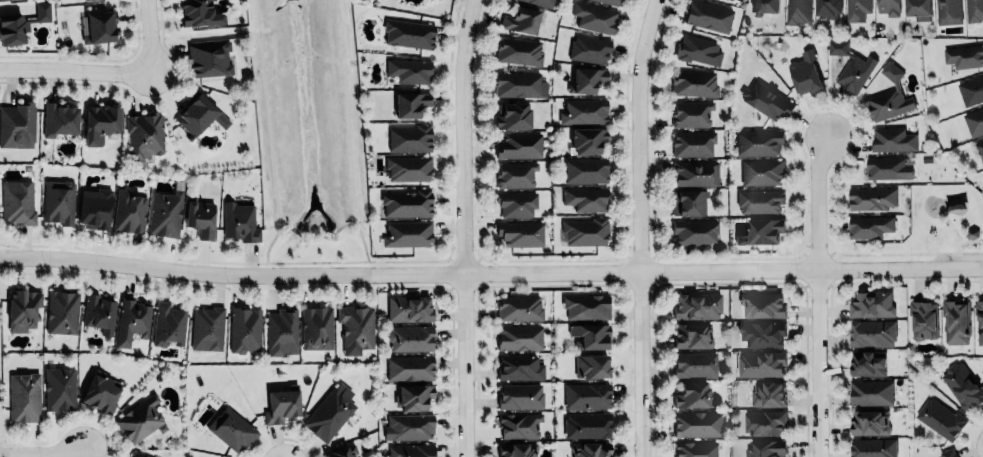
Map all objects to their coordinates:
building: (86, 0)
building: (730, 0)
building: (541, 2)
building: (611, 2)
building: (765, 7)
building: (889, 7)
building: (828, 8)
building: (918, 9)
building: (857, 10)
building: (974, 10)
building: (42, 11)
building: (949, 11)
building: (798, 12)
building: (199, 13)
building: (709, 16)
building: (595, 17)
building: (521, 20)
building: (98, 25)
building: (11, 29)
building: (408, 34)
road: (149, 38)
building: (590, 48)
building: (698, 50)
building: (519, 51)
building: (964, 57)
building: (210, 58)
building: (851, 67)
building: (409, 69)
road: (75, 72)
building: (587, 80)
building: (694, 82)
building: (520, 84)
building: (971, 90)
building: (889, 99)
building: (767, 100)
building: (411, 105)
building: (584, 111)
building: (692, 113)
building: (198, 115)
building: (512, 116)
building: (60, 119)
building: (974, 122)
building: (100, 123)
building: (17, 126)
road: (345, 132)
road: (267, 133)
building: (145, 134)
building: (409, 138)
building: (893, 139)
building: (587, 140)
building: (759, 142)
building: (693, 143)
building: (519, 145)
building: (979, 150)
building: (408, 168)
building: (888, 168)
road: (449, 169)
building: (585, 170)
building: (695, 172)
building: (762, 172)
building: (516, 174)
building: (585, 199)
building: (871, 199)
building: (689, 201)
building: (760, 201)
building: (18, 202)
building: (58, 202)
building: (407, 203)
building: (516, 204)
building: (95, 208)
building: (129, 212)
building: (165, 214)
building: (200, 218)
building: (240, 222)
road: (465, 227)
road: (642, 227)
building: (869, 227)
building: (695, 231)
building: (585, 232)
building: (761, 232)
building: (520, 233)
building: (407, 234)
road: (315, 263)
road: (490, 273)
road: (818, 295)
building: (872, 302)
building: (761, 303)
building: (697, 304)
building: (586, 305)
building: (519, 306)
building: (409, 307)
building: (22, 310)
building: (62, 312)
building: (99, 313)
building: (923, 317)
building: (131, 320)
building: (955, 322)
building: (169, 324)
building: (979, 324)
building: (316, 327)
building: (356, 328)
building: (207, 329)
building: (244, 329)
building: (281, 332)
building: (872, 333)
building: (591, 334)
building: (692, 334)
building: (761, 334)
building: (410, 336)
building: (519, 336)
building: (761, 362)
building: (868, 362)
building: (591, 364)
building: (695, 364)
building: (519, 366)
building: (410, 367)
building: (963, 384)
building: (60, 388)
building: (871, 391)
building: (768, 392)
building: (100, 394)
building: (587, 394)
building: (692, 395)
building: (413, 396)
building: (520, 396)
building: (24, 397)
building: (283, 405)
building: (331, 410)
building: (140, 419)
building: (940, 419)
building: (764, 420)
building: (697, 422)
building: (869, 422)
building: (586, 424)
building: (519, 425)
building: (408, 427)
building: (231, 430)
building: (590, 448)
building: (695, 448)
building: (765, 448)
building: (872, 448)
building: (518, 449)
building: (411, 450)
building: (342, 451)
building: (947, 453)
road: (43, 455)
building: (140, 455)

